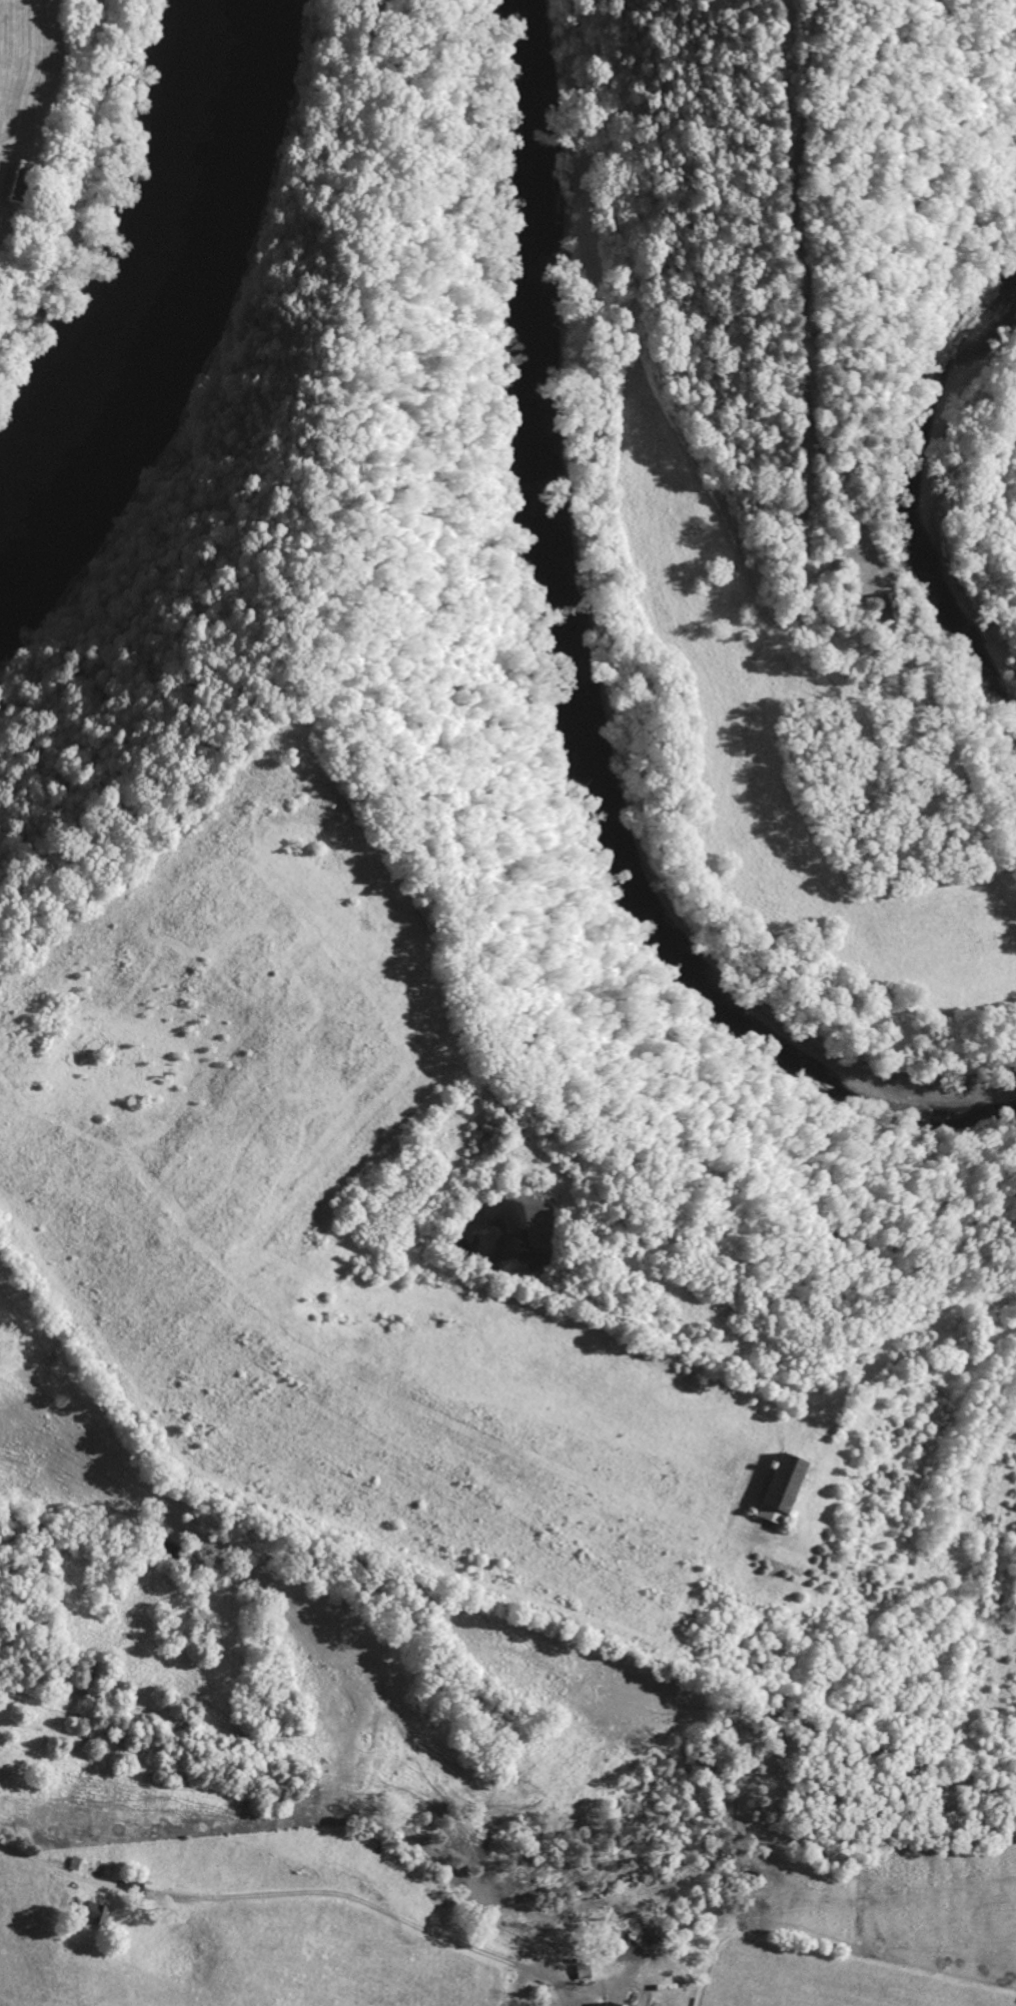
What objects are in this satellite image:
river: (162, 260)
river: (903, 488)
river: (576, 682)
building: (786, 1487)
building: (98, 1912)
building: (615, 2004)

